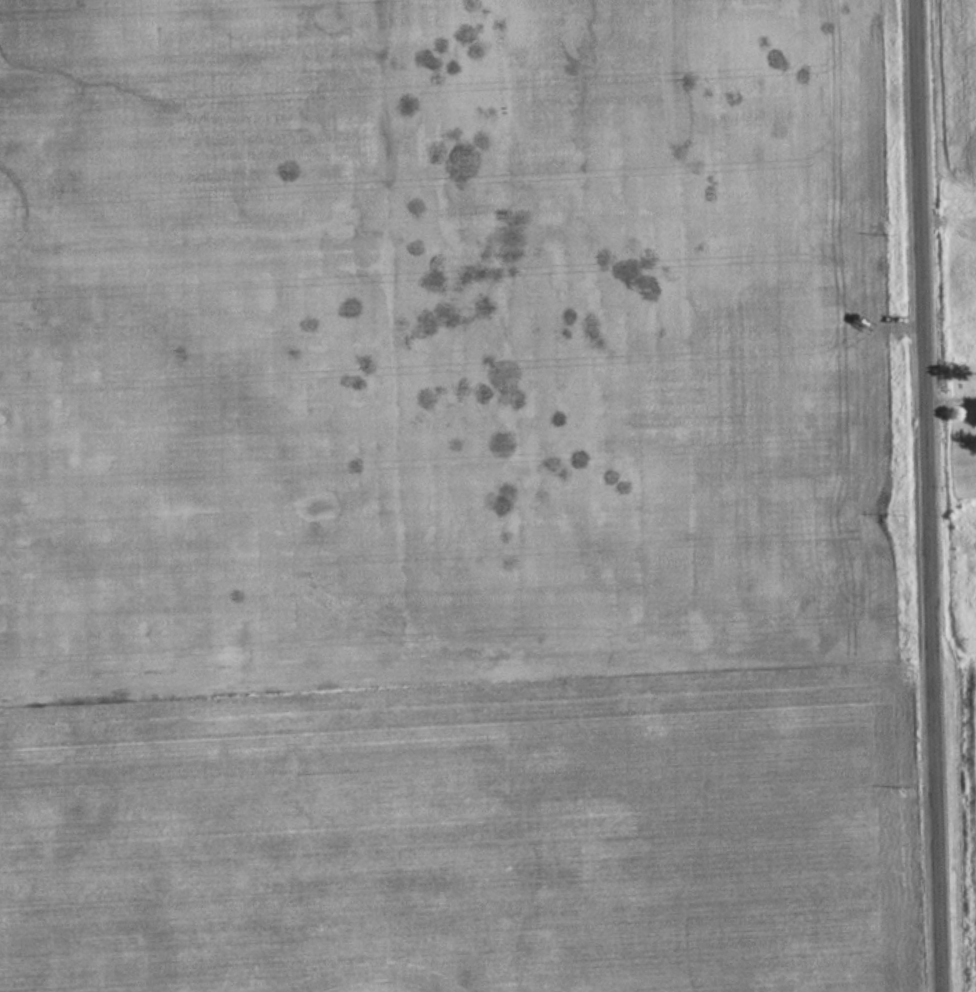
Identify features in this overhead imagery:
road: (933, 496)

